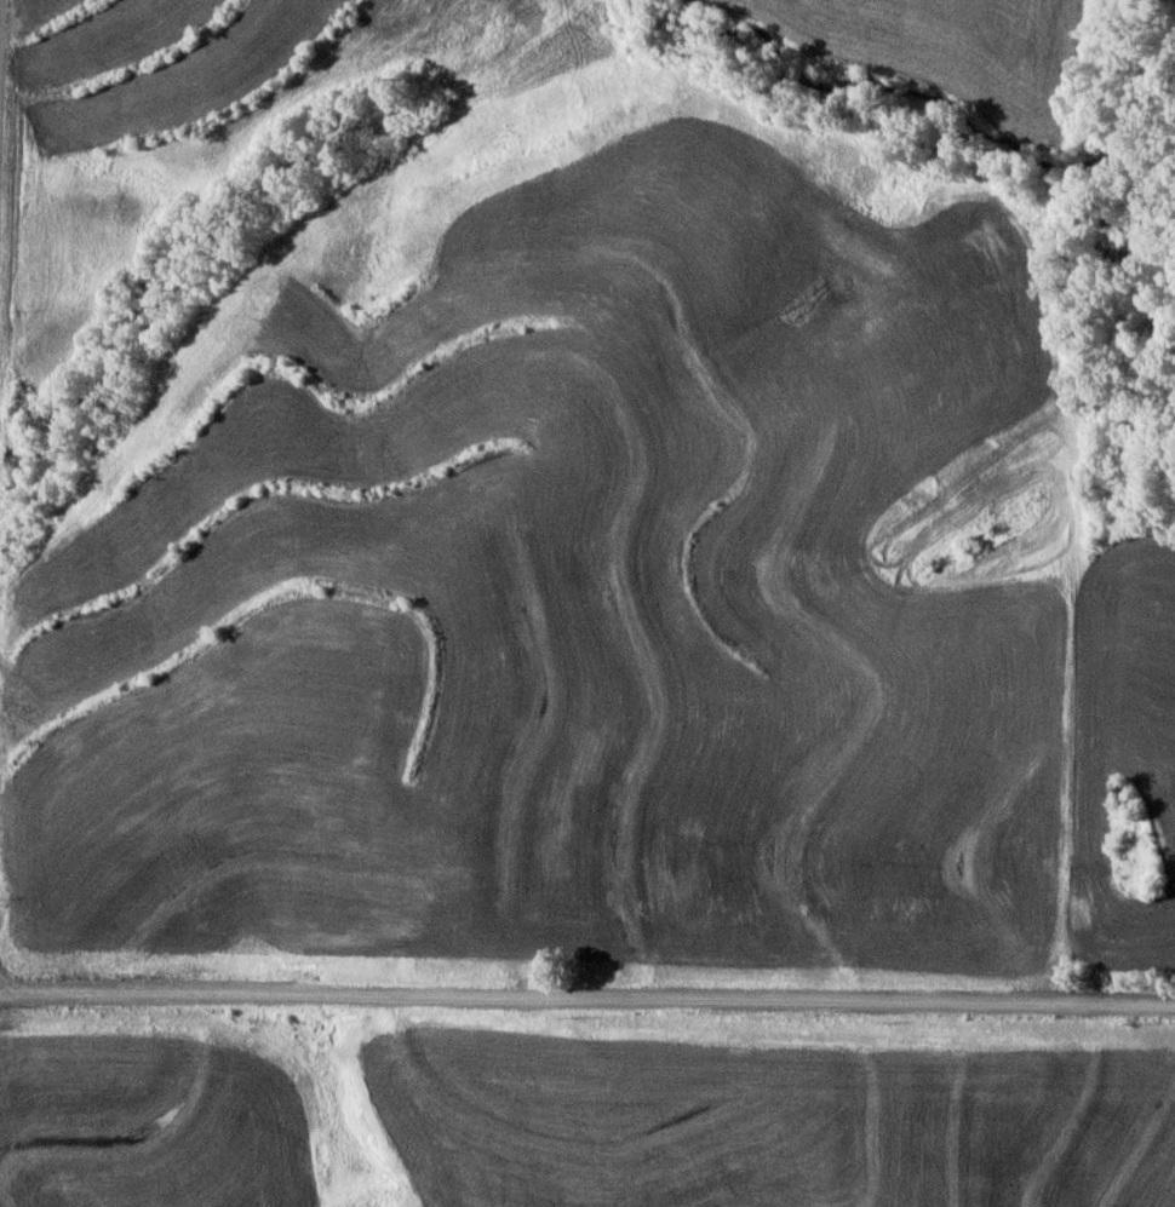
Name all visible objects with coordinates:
road: (587, 994)

